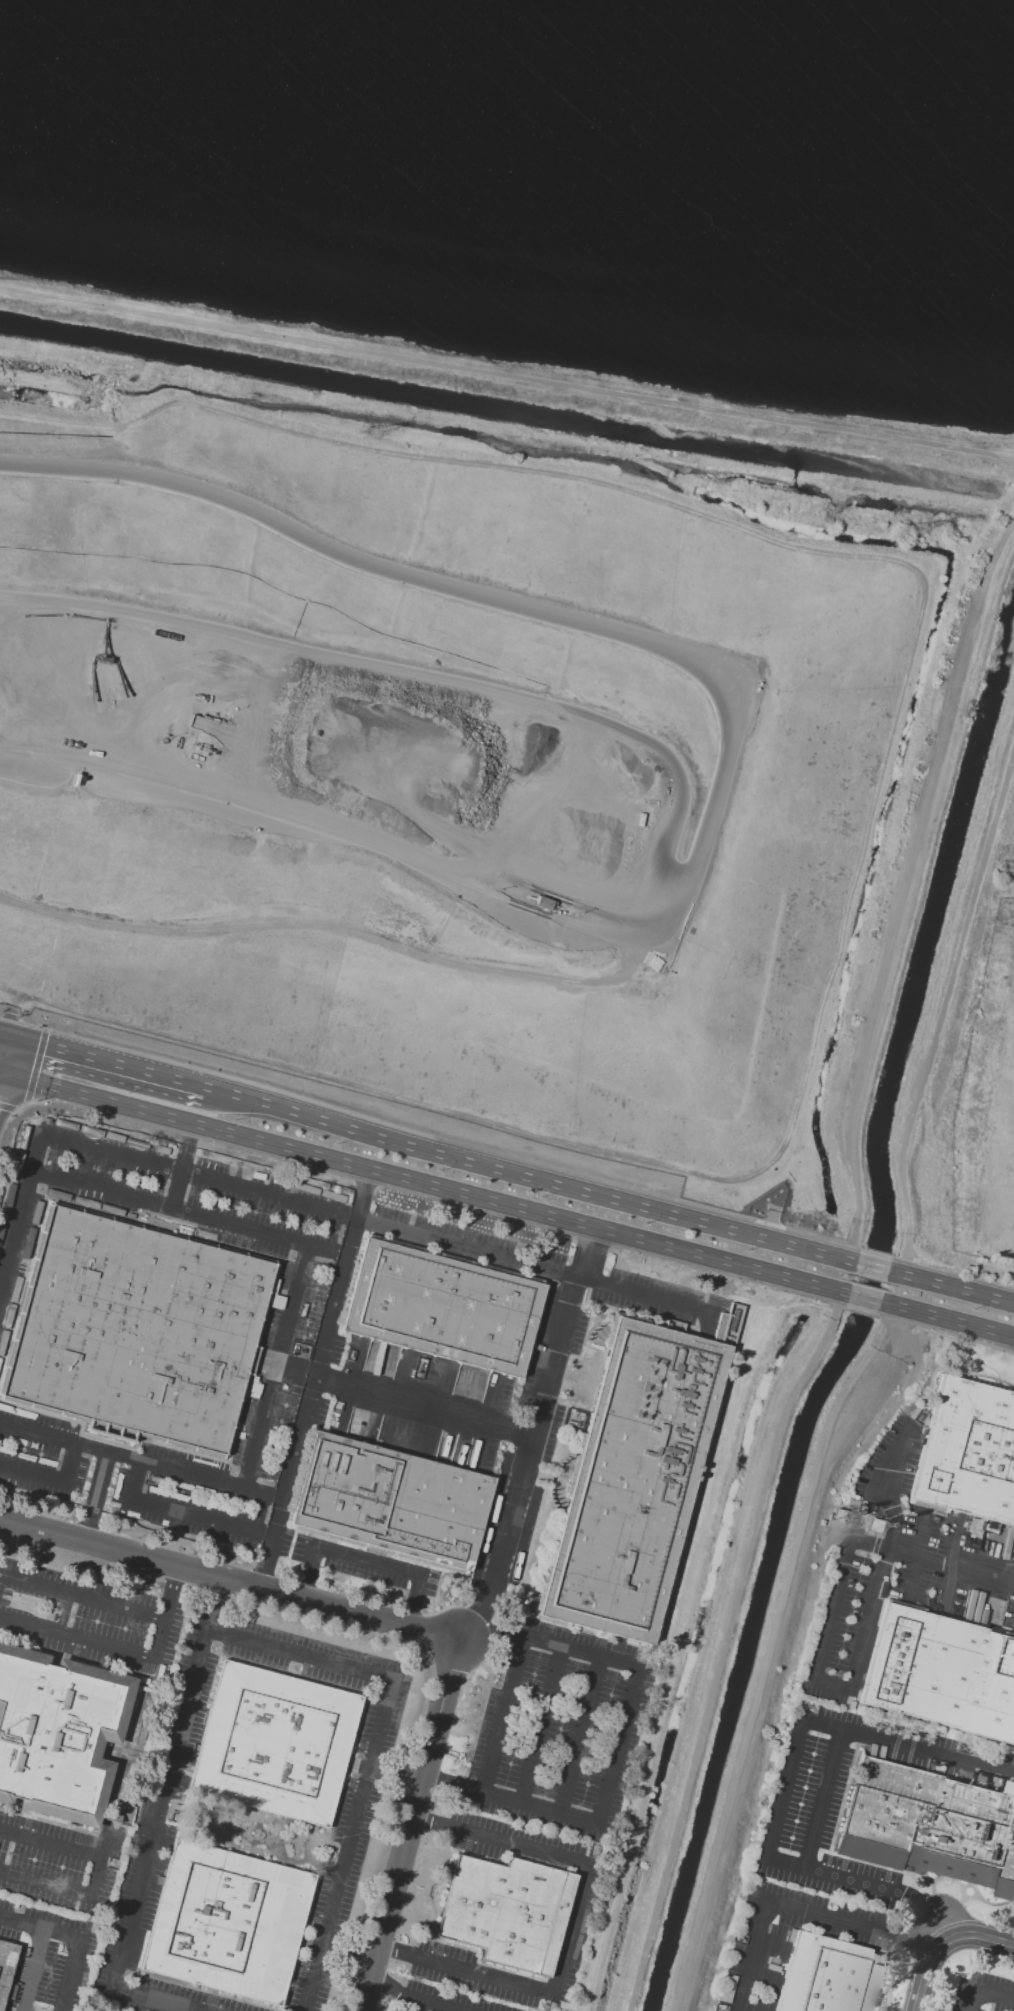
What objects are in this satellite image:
road: (506, 377)
power tower: (371, 436)
power tower: (919, 533)
road: (565, 617)
landfill: (439, 774)
power tower: (1005, 870)
road: (961, 886)
road: (908, 888)
road: (351, 930)
road: (943, 1003)
road: (2, 1030)
traffic signals: (5, 1031)
road: (2, 1041)
traffic signals: (45, 1042)
road: (98, 1055)
road: (189, 1167)
road: (524, 1169)
road: (423, 1185)
road: (174, 1204)
road: (22, 1224)
road: (378, 1228)
road: (872, 1263)
road: (951, 1284)
road: (1, 1295)
road: (863, 1300)
building: (444, 1309)
road: (946, 1322)
building: (727, 1325)
building: (137, 1329)
road: (276, 1364)
road: (309, 1378)
road: (404, 1401)
road: (540, 1408)
building: (968, 1453)
road: (141, 1460)
road: (893, 1460)
building: (631, 1481)
road: (95, 1496)
road: (137, 1499)
building: (390, 1502)
road: (895, 1517)
power tower: (841, 1518)
power tower: (872, 1526)
road: (916, 1558)
road: (367, 1562)
road: (935, 1562)
road: (954, 1566)
road: (228, 1580)
road: (306, 1582)
road: (109, 1604)
road: (833, 1607)
road: (411, 1610)
road: (472, 1615)
parking lot: (87, 1619)
road: (870, 1619)
road: (492, 1633)
road: (78, 1638)
road: (162, 1639)
road: (710, 1645)
road: (721, 1648)
road: (581, 1653)
road: (301, 1658)
road: (136, 1672)
building: (941, 1672)
road: (834, 1684)
road: (544, 1727)
building: (58, 1733)
road: (582, 1737)
building: (274, 1744)
road: (792, 1751)
road: (483, 1794)
road: (822, 1797)
road: (53, 1821)
road: (429, 1821)
road: (158, 1825)
road: (408, 1825)
building: (930, 1825)
road: (105, 1841)
road: (50, 1845)
road: (348, 1847)
parking lot: (55, 1865)
road: (96, 1878)
road: (45, 1885)
road: (777, 1903)
road: (941, 1906)
building: (506, 1911)
building: (227, 1922)
road: (568, 1928)
road: (39, 1929)
road: (918, 1943)
road: (771, 1946)
road: (946, 1947)
road: (394, 1951)
parking lot: (47, 1957)
building: (5, 1965)
road: (34, 1971)
road: (70, 1975)
building: (826, 1976)
road: (384, 1983)
road: (995, 1995)
road: (973, 2000)
road: (425, 2003)
road: (418, 2006)
road: (739, 2010)

